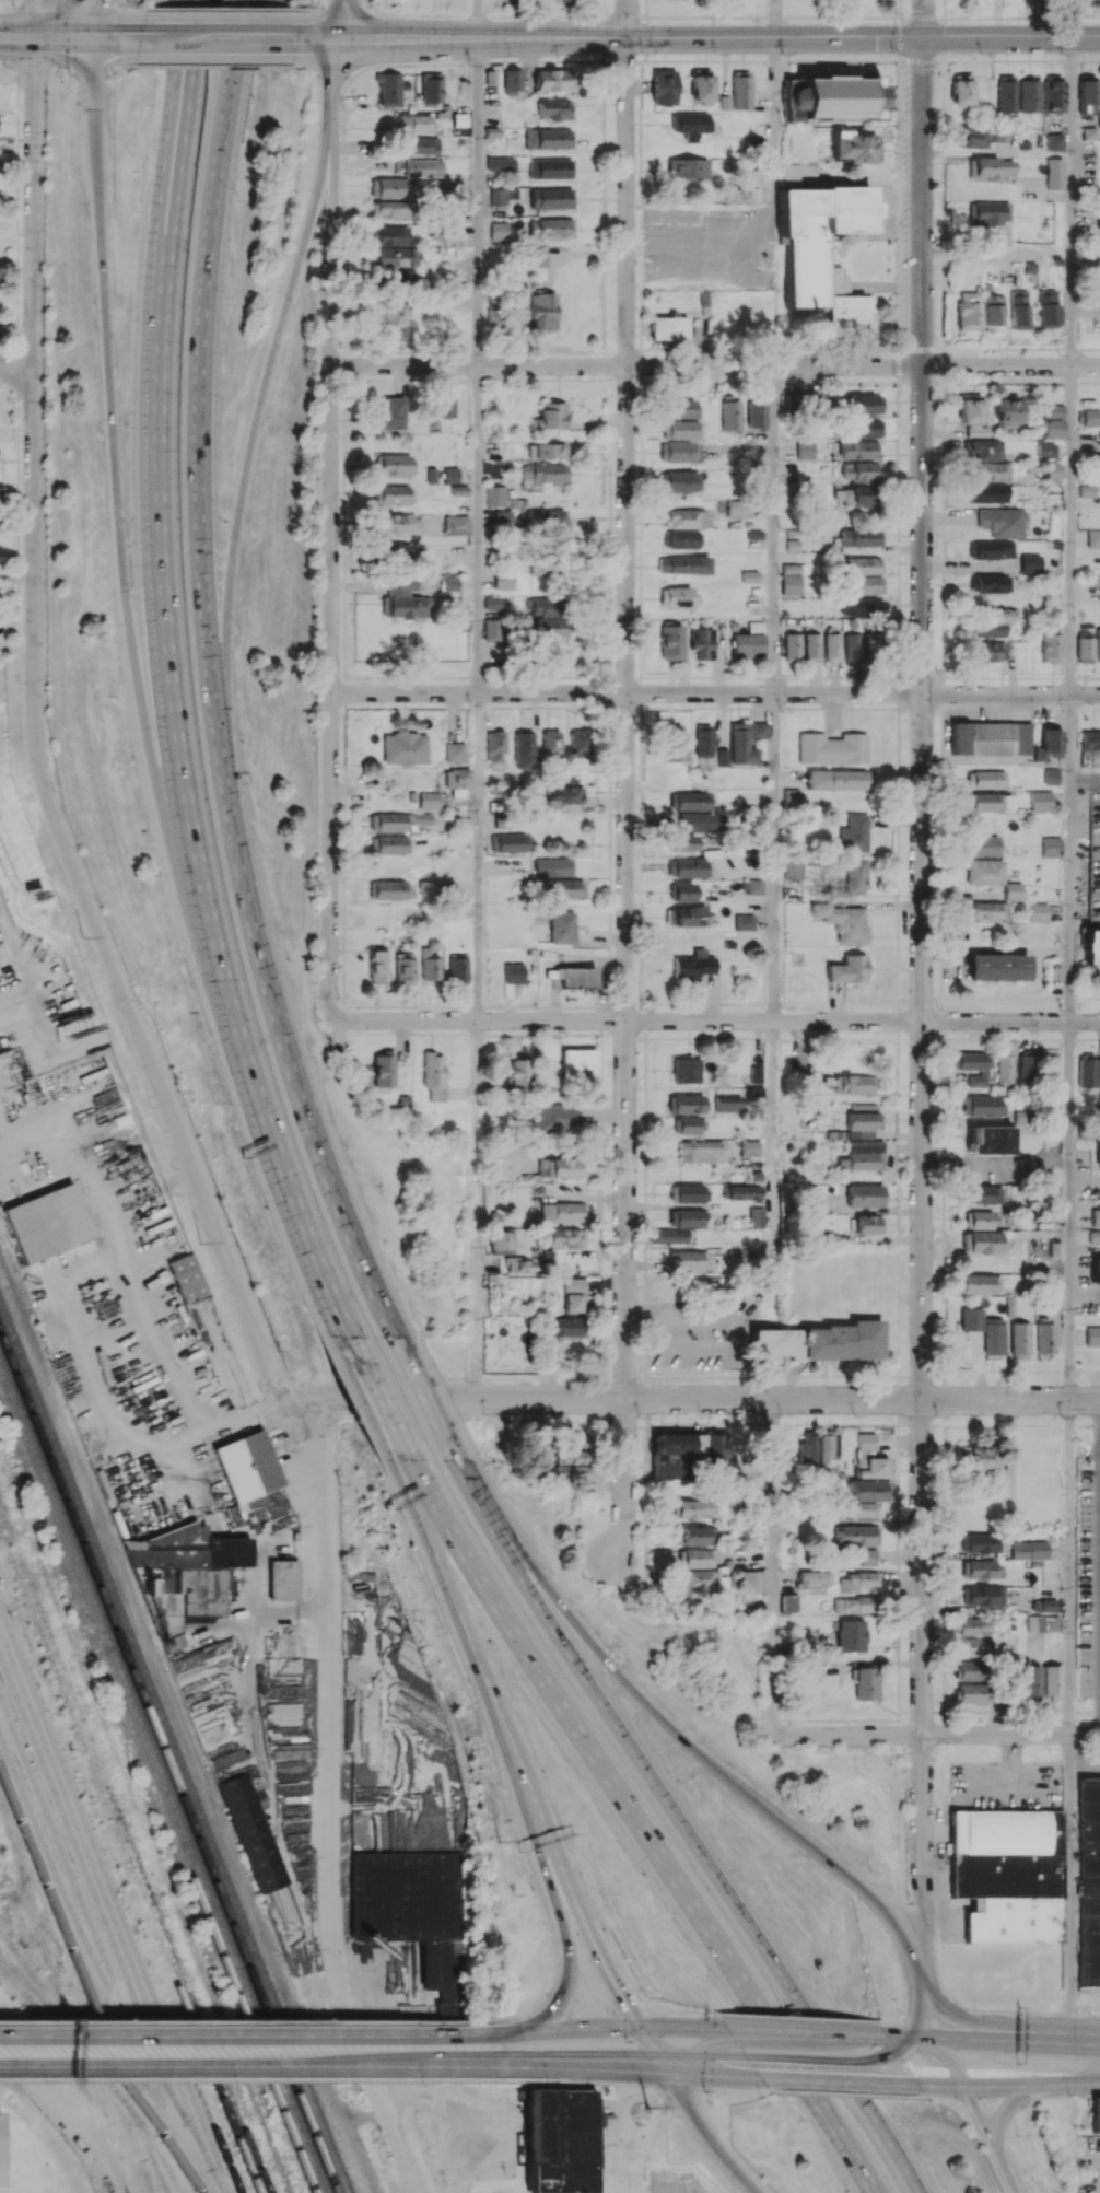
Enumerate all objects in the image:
building: (558, 2)
road: (65, 5)
road: (121, 9)
road: (217, 10)
road: (388, 13)
road: (34, 19)
road: (93, 19)
road: (477, 19)
road: (627, 19)
road: (774, 19)
road: (922, 19)
road: (1072, 19)
road: (338, 20)
traffic signals: (34, 37)
road: (66, 37)
road: (717, 37)
traffic signals: (92, 38)
road: (213, 38)
road: (316, 39)
road: (608, 60)
road: (2, 62)
road: (118, 66)
road: (211, 66)
road: (26, 69)
road: (63, 69)
road: (92, 71)
building: (553, 80)
building: (512, 81)
building: (701, 84)
building: (664, 86)
building: (431, 88)
building: (389, 89)
building: (740, 90)
building: (960, 90)
building: (1053, 94)
building: (1029, 95)
building: (831, 97)
building: (1087, 97)
building: (1004, 104)
building: (555, 109)
road: (177, 113)
building: (1099, 119)
building: (416, 123)
building: (690, 124)
road: (773, 124)
building: (1088, 133)
building: (972, 138)
building: (548, 139)
building: (1054, 142)
building: (424, 145)
building: (852, 147)
building: (500, 163)
building: (423, 167)
building: (550, 168)
building: (687, 168)
building: (990, 168)
building: (1054, 173)
building: (789, 175)
building: (389, 188)
building: (502, 195)
building: (551, 198)
road: (1070, 201)
road: (332, 202)
road: (477, 202)
building: (391, 209)
building: (987, 212)
building: (1098, 217)
building: (550, 228)
building: (498, 232)
building: (393, 235)
building: (821, 247)
road: (996, 250)
building: (397, 256)
building: (537, 260)
building: (407, 273)
building: (1045, 308)
building: (991, 310)
building: (1017, 310)
building: (542, 311)
building: (967, 311)
building: (390, 314)
building: (516, 315)
building: (491, 317)
building: (669, 327)
road: (16, 364)
road: (553, 365)
road: (938, 366)
road: (262, 396)
road: (32, 403)
building: (861, 404)
building: (445, 407)
building: (681, 408)
building: (969, 409)
building: (1051, 411)
building: (391, 413)
building: (757, 413)
building: (1006, 413)
building: (552, 415)
building: (730, 416)
building: (1091, 417)
building: (865, 428)
building: (1051, 429)
building: (680, 430)
building: (1099, 438)
building: (805, 450)
building: (857, 450)
building: (985, 450)
building: (1045, 450)
building: (547, 451)
building: (676, 452)
building: (1093, 460)
building: (396, 464)
building: (861, 471)
building: (991, 471)
building: (1054, 473)
building: (541, 474)
building: (450, 475)
building: (680, 480)
building: (0, 487)
building: (390, 493)
building: (991, 493)
building: (494, 495)
building: (855, 497)
road: (116, 498)
building: (738, 509)
building: (502, 517)
building: (687, 518)
building: (546, 520)
building: (999, 522)
building: (399, 523)
building: (456, 525)
road: (479, 528)
road: (1070, 530)
building: (861, 537)
building: (1093, 538)
building: (993, 549)
building: (394, 551)
building: (2, 556)
building: (1029, 563)
building: (541, 564)
building: (684, 564)
building: (861, 565)
building: (793, 574)
building: (750, 576)
building: (503, 580)
building: (991, 583)
building: (865, 584)
building: (677, 596)
building: (402, 599)
building: (866, 607)
building: (464, 619)
building: (543, 620)
building: (987, 628)
building: (491, 629)
road: (330, 638)
building: (671, 642)
building: (702, 642)
building: (1098, 644)
building: (747, 645)
building: (853, 645)
building: (812, 646)
building: (832, 646)
building: (873, 646)
building: (1050, 646)
building: (793, 648)
building: (1086, 649)
building: (988, 651)
road: (167, 679)
road: (211, 679)
road: (715, 692)
road: (776, 693)
building: (757, 730)
building: (991, 738)
building: (702, 740)
building: (674, 743)
building: (740, 745)
building: (1048, 745)
building: (494, 746)
building: (550, 746)
building: (403, 748)
building: (832, 748)
building: (1090, 748)
building: (578, 749)
building: (523, 750)
building: (453, 751)
building: (723, 757)
building: (1051, 775)
building: (457, 778)
road: (1085, 778)
building: (836, 779)
building: (986, 779)
building: (563, 796)
building: (792, 796)
building: (428, 800)
road: (627, 801)
building: (689, 801)
building: (1041, 801)
building: (983, 802)
building: (1007, 802)
building: (397, 820)
building: (695, 823)
building: (854, 833)
building: (686, 842)
building: (508, 843)
building: (390, 844)
building: (983, 845)
building: (1051, 847)
road: (480, 856)
road: (1069, 858)
building: (552, 866)
building: (688, 867)
building: (794, 868)
building: (985, 872)
building: (856, 876)
building: (754, 886)
road: (923, 886)
building: (566, 888)
building: (389, 890)
building: (1014, 890)
building: (683, 891)
building: (988, 910)
building: (1039, 912)
building: (683, 917)
building: (745, 922)
building: (843, 922)
building: (562, 928)
building: (1092, 946)
building: (378, 965)
building: (693, 965)
building: (429, 966)
building: (997, 967)
building: (405, 968)
building: (457, 969)
building: (849, 969)
building: (513, 972)
building: (573, 977)
road: (16, 985)
road: (717, 1020)
building: (578, 1065)
building: (974, 1066)
building: (1005, 1066)
building: (1050, 1066)
building: (1026, 1068)
building: (383, 1069)
building: (518, 1070)
building: (686, 1070)
building: (1089, 1071)
building: (433, 1075)
building: (853, 1084)
road: (163, 1096)
building: (687, 1103)
building: (729, 1104)
building: (986, 1105)
building: (553, 1119)
building: (861, 1124)
building: (689, 1125)
road: (773, 1134)
building: (991, 1140)
building: (750, 1147)
building: (699, 1151)
building: (1098, 1157)
building: (857, 1162)
building: (560, 1167)
road: (1085, 1179)
building: (745, 1192)
building: (690, 1193)
building: (985, 1194)
building: (865, 1195)
road: (479, 1210)
road: (1069, 1211)
building: (563, 1212)
building: (1095, 1217)
building: (687, 1218)
building: (985, 1218)
building: (47, 1223)
building: (868, 1224)
building: (669, 1236)
building: (563, 1237)
building: (503, 1241)
building: (986, 1241)
building: (689, 1260)
building: (519, 1264)
building: (1096, 1269)
building: (188, 1279)
building: (980, 1283)
building: (574, 1295)
road: (1085, 1295)
road: (75, 1305)
road: (651, 1315)
building: (971, 1319)
building: (565, 1327)
road: (738, 1330)
building: (1092, 1335)
building: (993, 1337)
building: (1045, 1338)
building: (1020, 1340)
building: (820, 1342)
road: (422, 1398)
road: (706, 1399)
road: (375, 1400)
building: (577, 1442)
building: (678, 1443)
building: (715, 1445)
building: (808, 1448)
building: (829, 1451)
building: (869, 1458)
building: (978, 1458)
building: (571, 1465)
building: (247, 1466)
building: (667, 1470)
building: (866, 1490)
building: (692, 1509)
building: (697, 1536)
building: (856, 1536)
building: (980, 1542)
building: (1029, 1549)
building: (868, 1556)
building: (698, 1558)
road: (775, 1565)
road: (1069, 1567)
building: (981, 1568)
building: (183, 1573)
building: (812, 1578)
building: (283, 1579)
building: (702, 1579)
building: (856, 1580)
building: (752, 1582)
building: (985, 1595)
building: (789, 1603)
building: (855, 1605)
building: (1043, 1605)
building: (1042, 1623)
building: (972, 1626)
building: (850, 1635)
building: (974, 1647)
building: (970, 1670)
railway: (17, 1671)
building: (1052, 1681)
building: (1031, 1682)
building: (864, 1683)
building: (971, 1692)
road: (575, 1729)
road: (678, 1734)
road: (937, 1734)
railway: (174, 1749)
road: (510, 1754)
road: (1085, 1762)
railway: (168, 1764)
railway: (163, 1776)
railway: (157, 1792)
road: (330, 1800)
road: (921, 1803)
railway: (145, 1821)
road: (684, 1825)
building: (250, 1832)
railway: (134, 1845)
railway: (130, 1858)
railway: (125, 1873)
building: (1007, 1874)
building: (1088, 1881)
building: (412, 1883)
railway: (120, 1885)
road: (1069, 1886)
road: (571, 1891)
railway: (67, 1895)
railway: (108, 1899)
railway: (102, 1912)
railway: (86, 1914)
road: (924, 1925)
railway: (129, 1934)
railway: (4, 1937)
railway: (73, 1953)
railway: (27, 1981)
railway: (44, 1988)
railway: (290, 1988)
road: (918, 2008)
railway: (39, 2009)
road: (980, 2010)
road: (583, 2013)
road: (688, 2015)
road: (798, 2018)
road: (261, 2022)
road: (987, 2026)
road: (621, 2028)
traffic signals: (639, 2028)
road: (808, 2031)
road: (500, 2033)
road: (243, 2035)
road: (993, 2037)
road: (810, 2040)
road: (695, 2044)
road: (904, 2045)
road: (650, 2046)
road: (822, 2060)
road: (576, 2061)
road: (704, 2061)
road: (246, 2063)
traffic signals: (662, 2065)
railway: (109, 2067)
road: (712, 2072)
road: (259, 2080)
road: (841, 2081)
road: (648, 2085)
road: (964, 2085)
road: (1009, 2085)
road: (815, 2092)
road: (849, 2093)
road: (1013, 2097)
building: (1096, 2112)
railway: (131, 2115)
railway: (121, 2118)
road: (703, 2132)
road: (994, 2132)
railway: (148, 2133)
building: (561, 2140)
road: (629, 2154)
railway: (185, 2166)
railway: (147, 2175)

